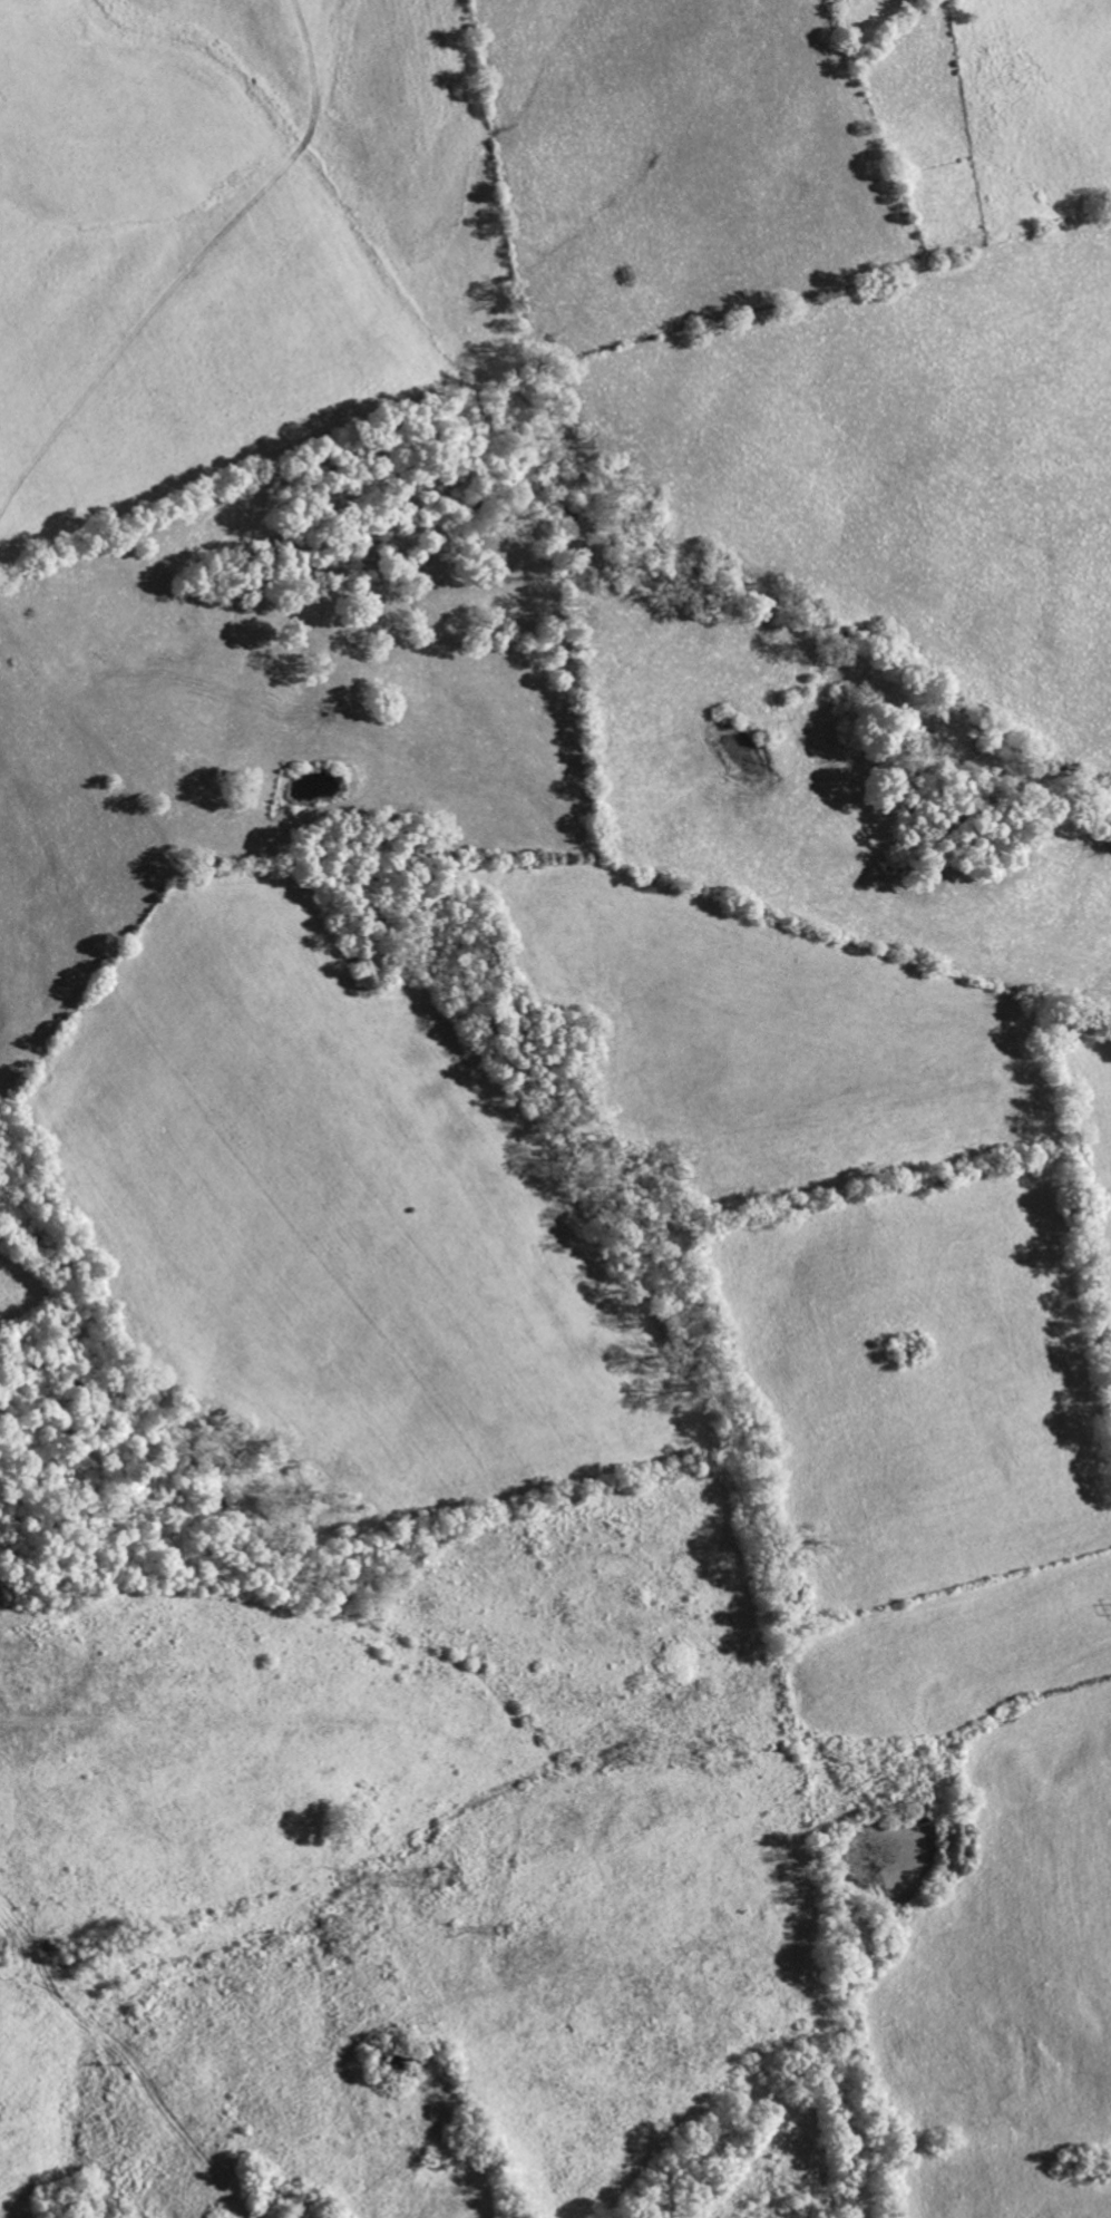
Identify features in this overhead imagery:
power tower: (440, 1877)

